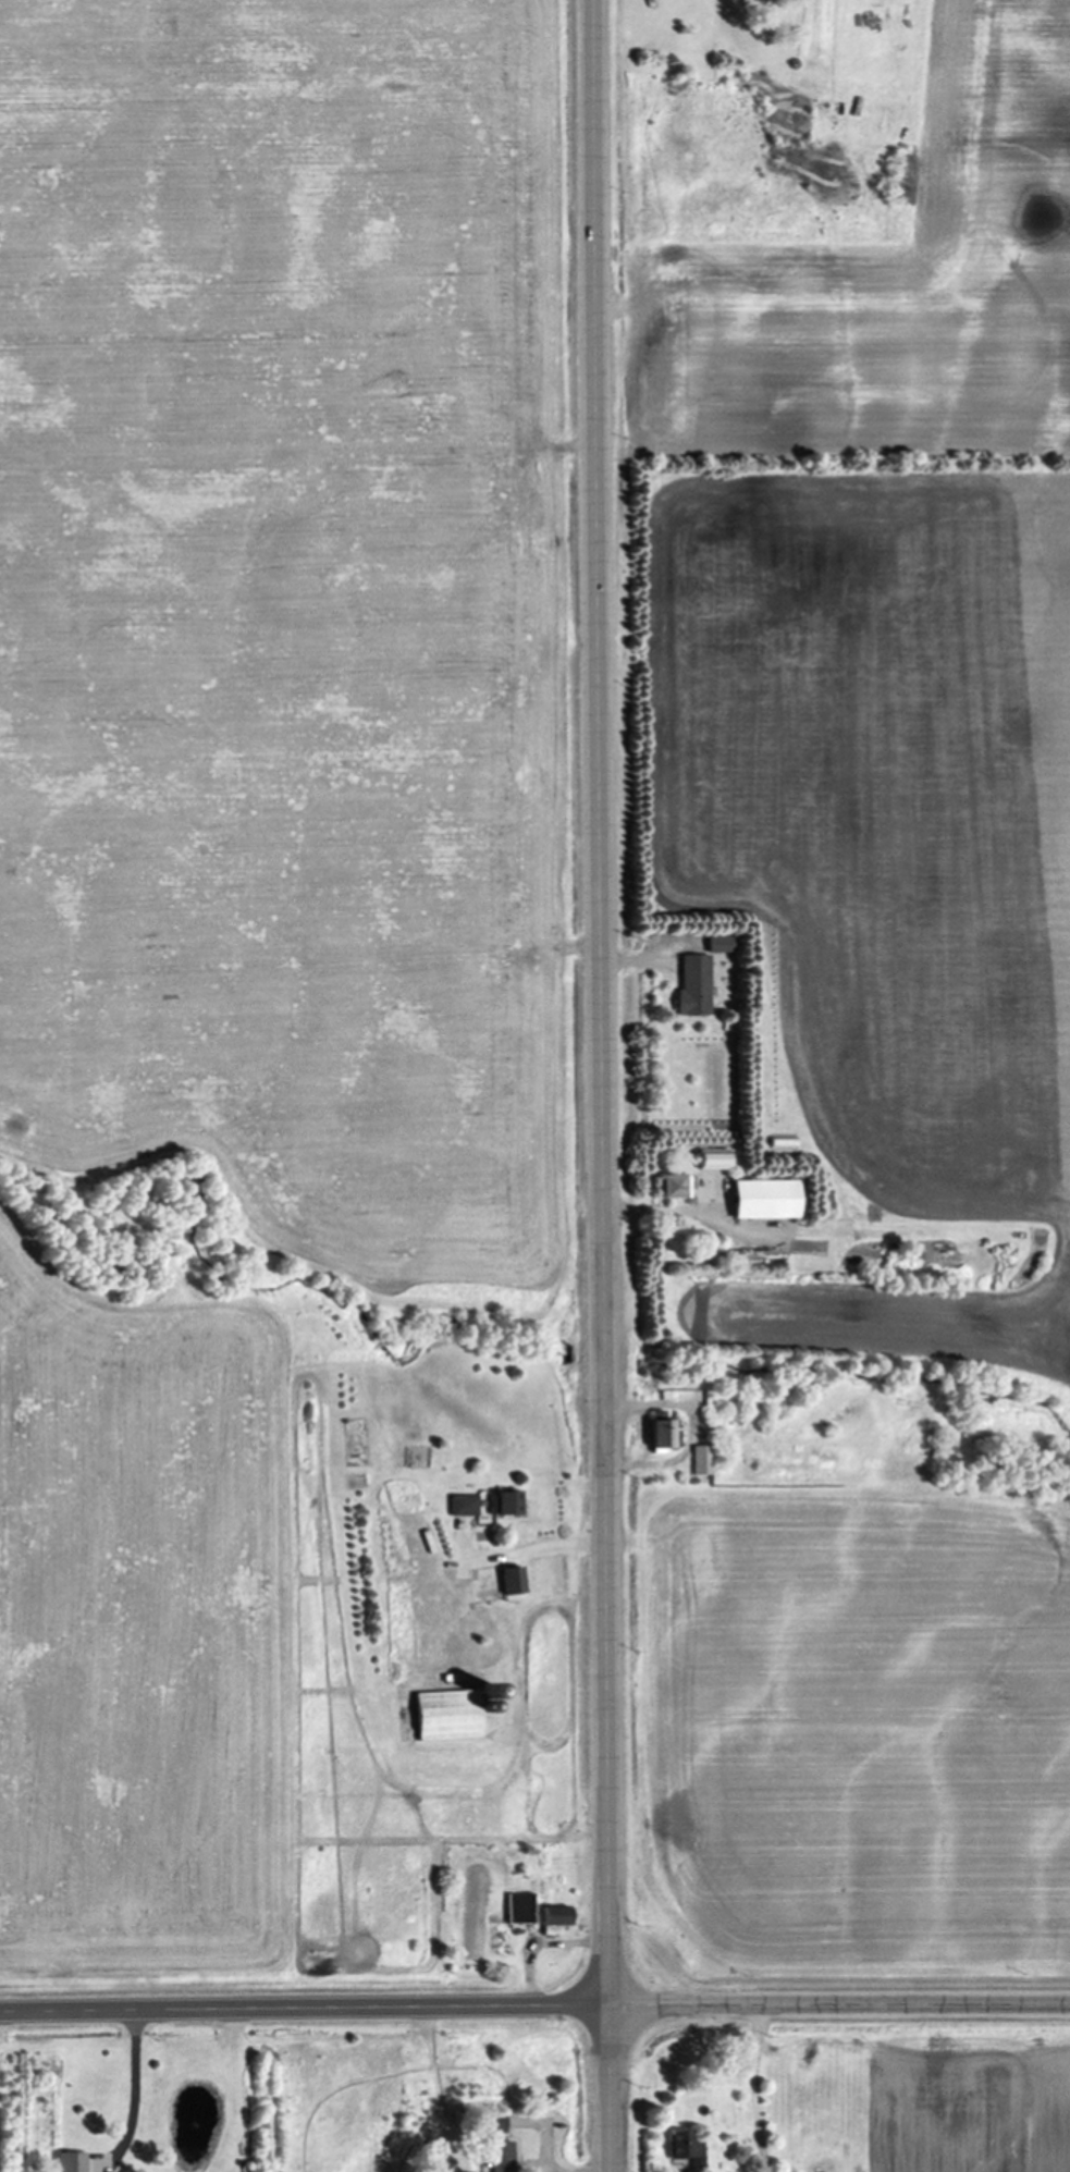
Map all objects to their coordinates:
building: (713, 945)
road: (632, 962)
building: (688, 987)
road: (601, 1085)
building: (709, 1161)
building: (671, 1188)
building: (757, 1201)
road: (660, 1210)
road: (690, 1431)
building: (697, 1461)
building: (499, 1505)
building: (458, 1507)
road: (541, 1546)
building: (507, 1581)
building: (450, 1714)
building: (514, 1913)
building: (550, 1922)
road: (534, 2002)
road: (754, 2088)
road: (135, 2089)
building: (690, 2148)
building: (505, 2157)
building: (75, 2162)
road: (557, 2170)

